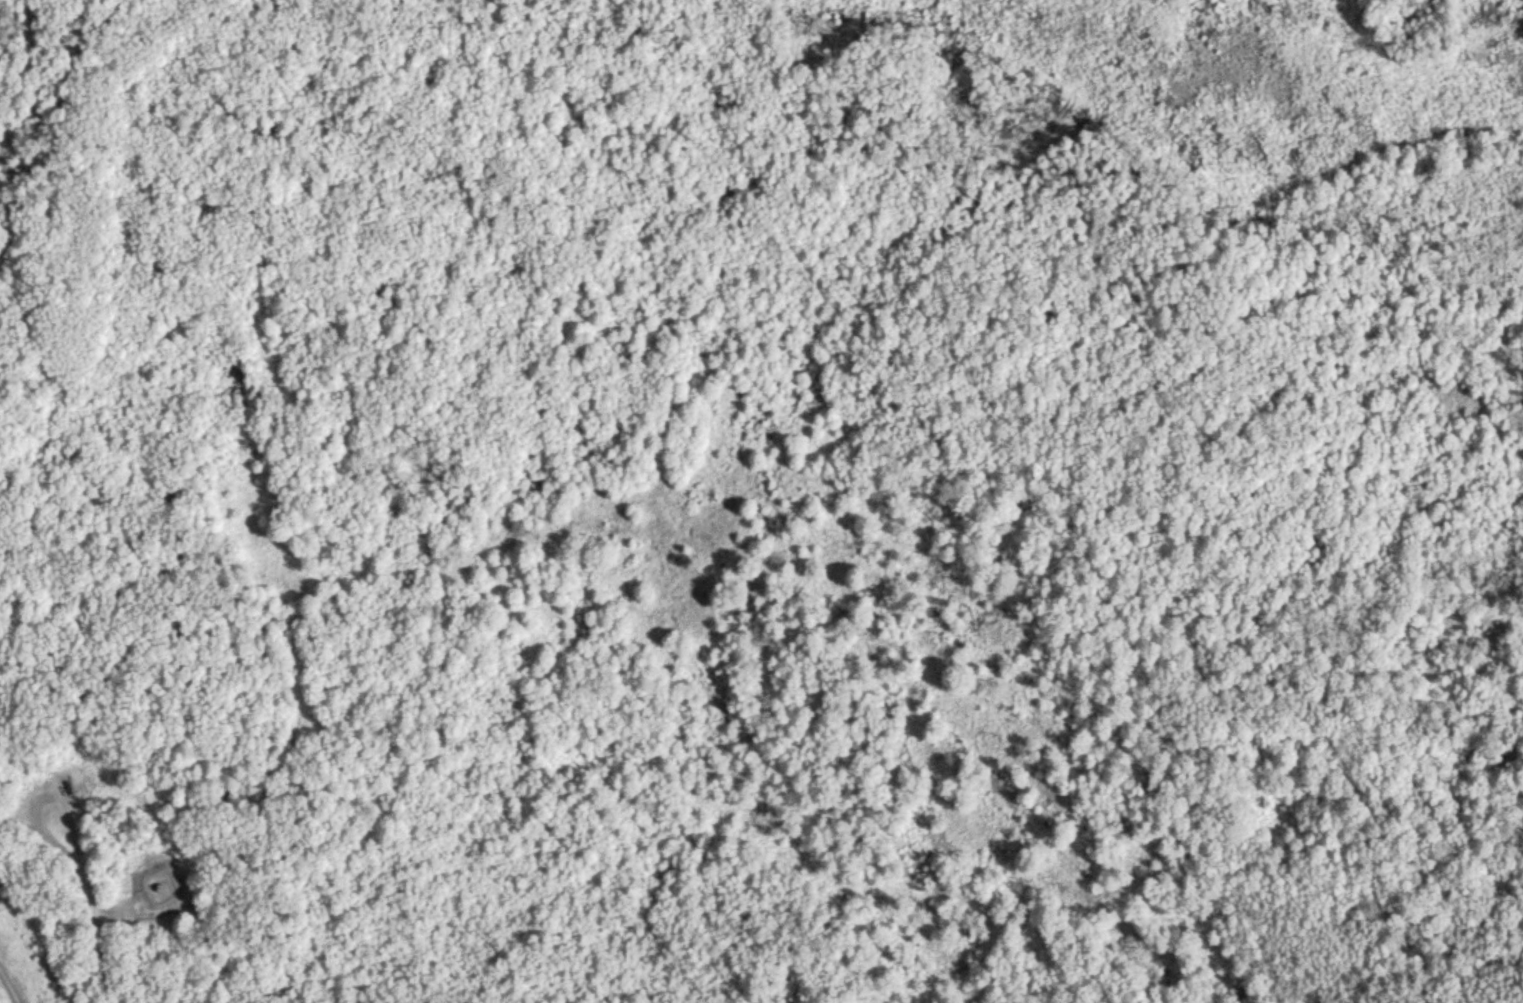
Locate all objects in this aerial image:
petroleum well: (72, 791)
road: (95, 931)
road: (5, 992)

